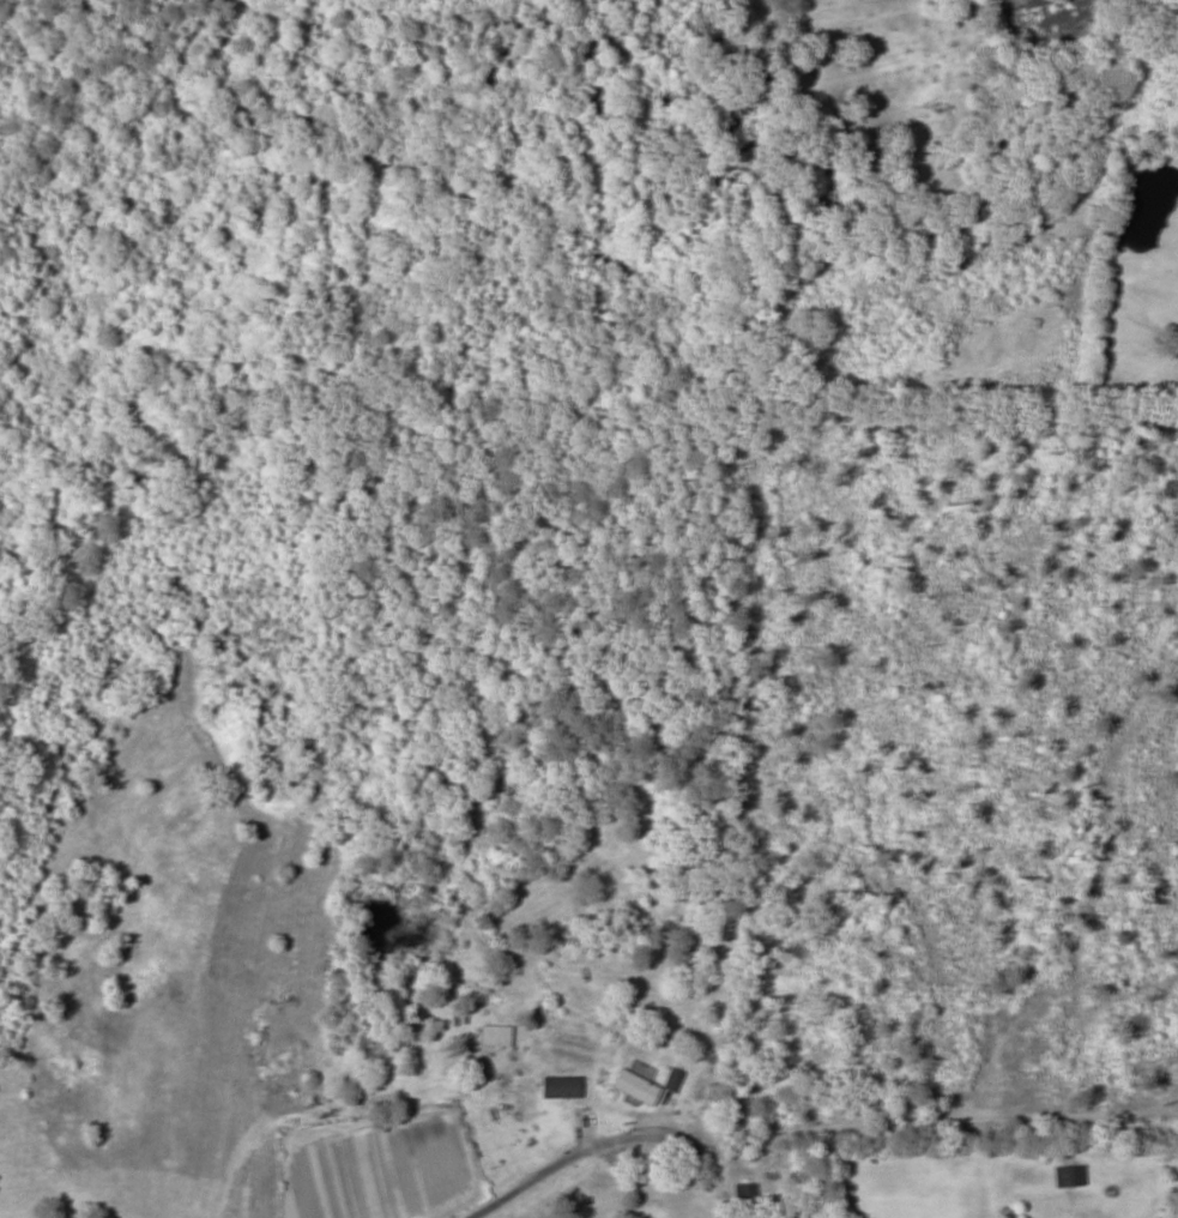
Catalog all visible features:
building: (633, 1086)
building: (572, 1101)
road: (554, 1166)
building: (1067, 1175)
building: (742, 1198)

